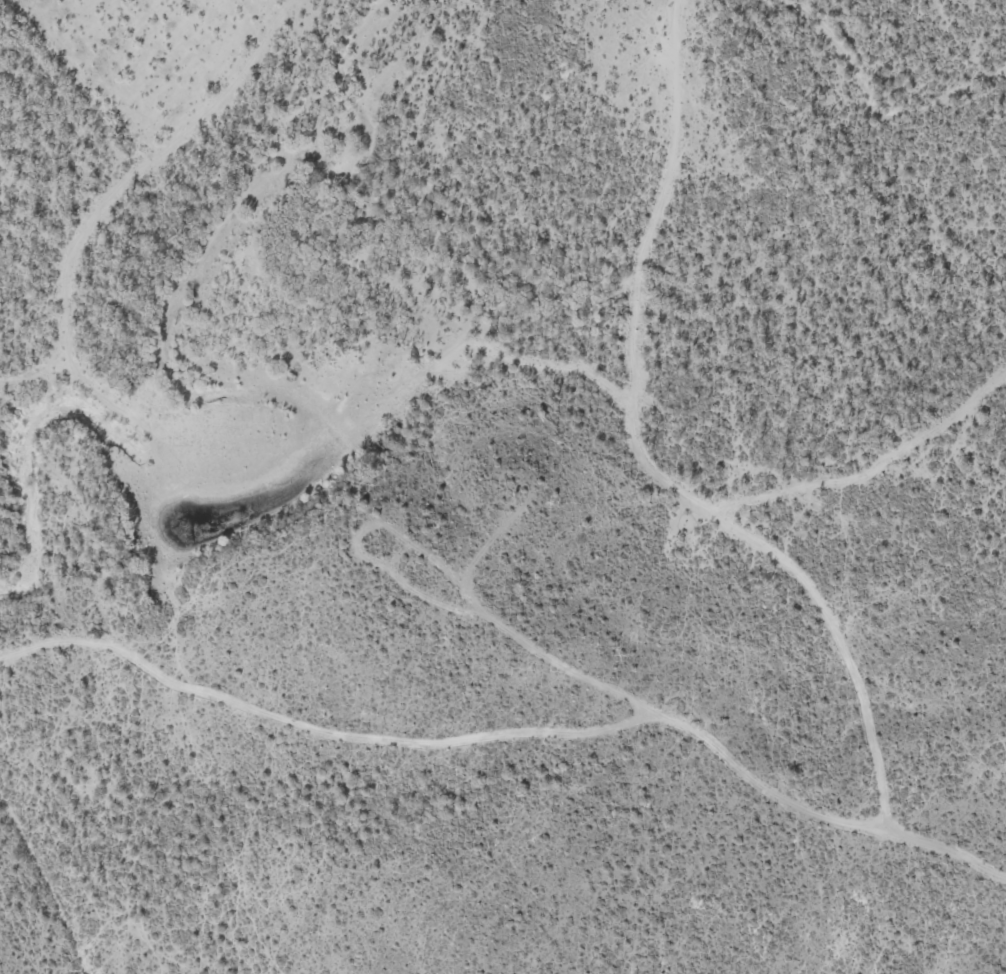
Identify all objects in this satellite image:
road: (200, 689)

